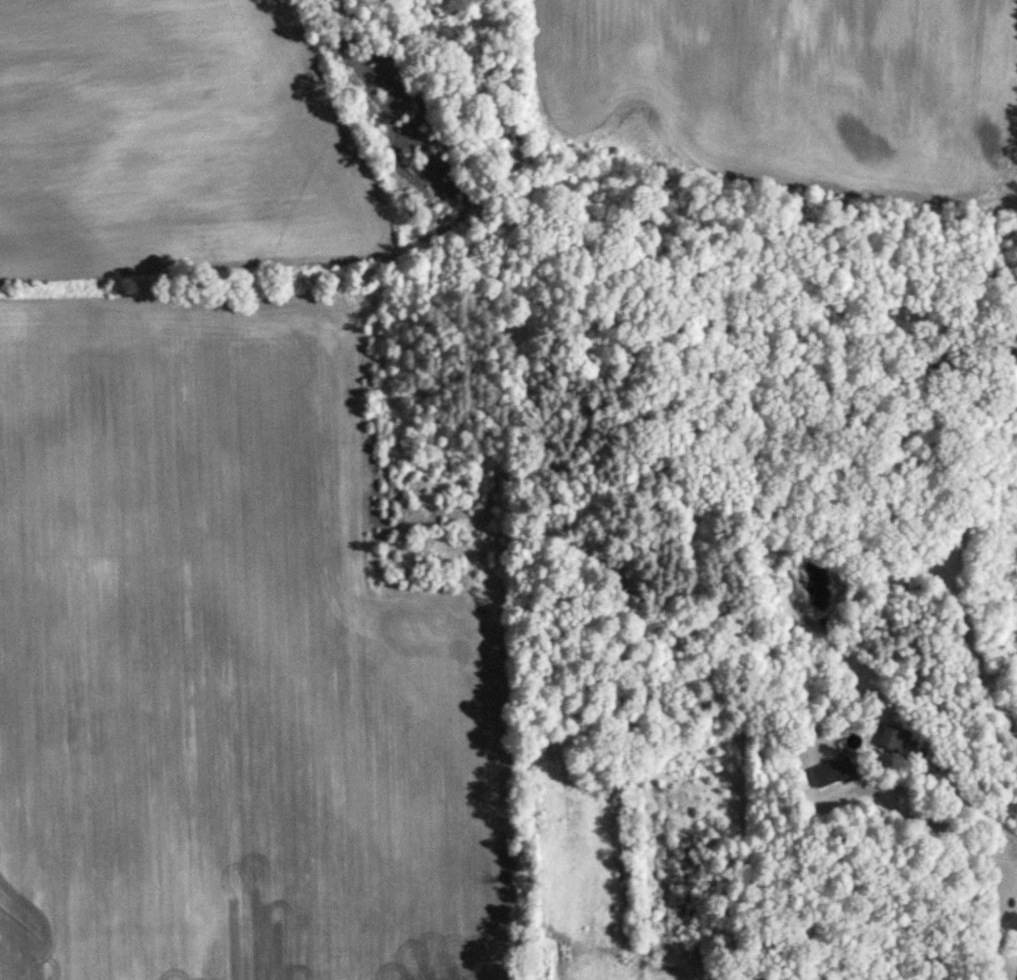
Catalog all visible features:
building: (893, 739)
building: (832, 772)
building: (1012, 922)

